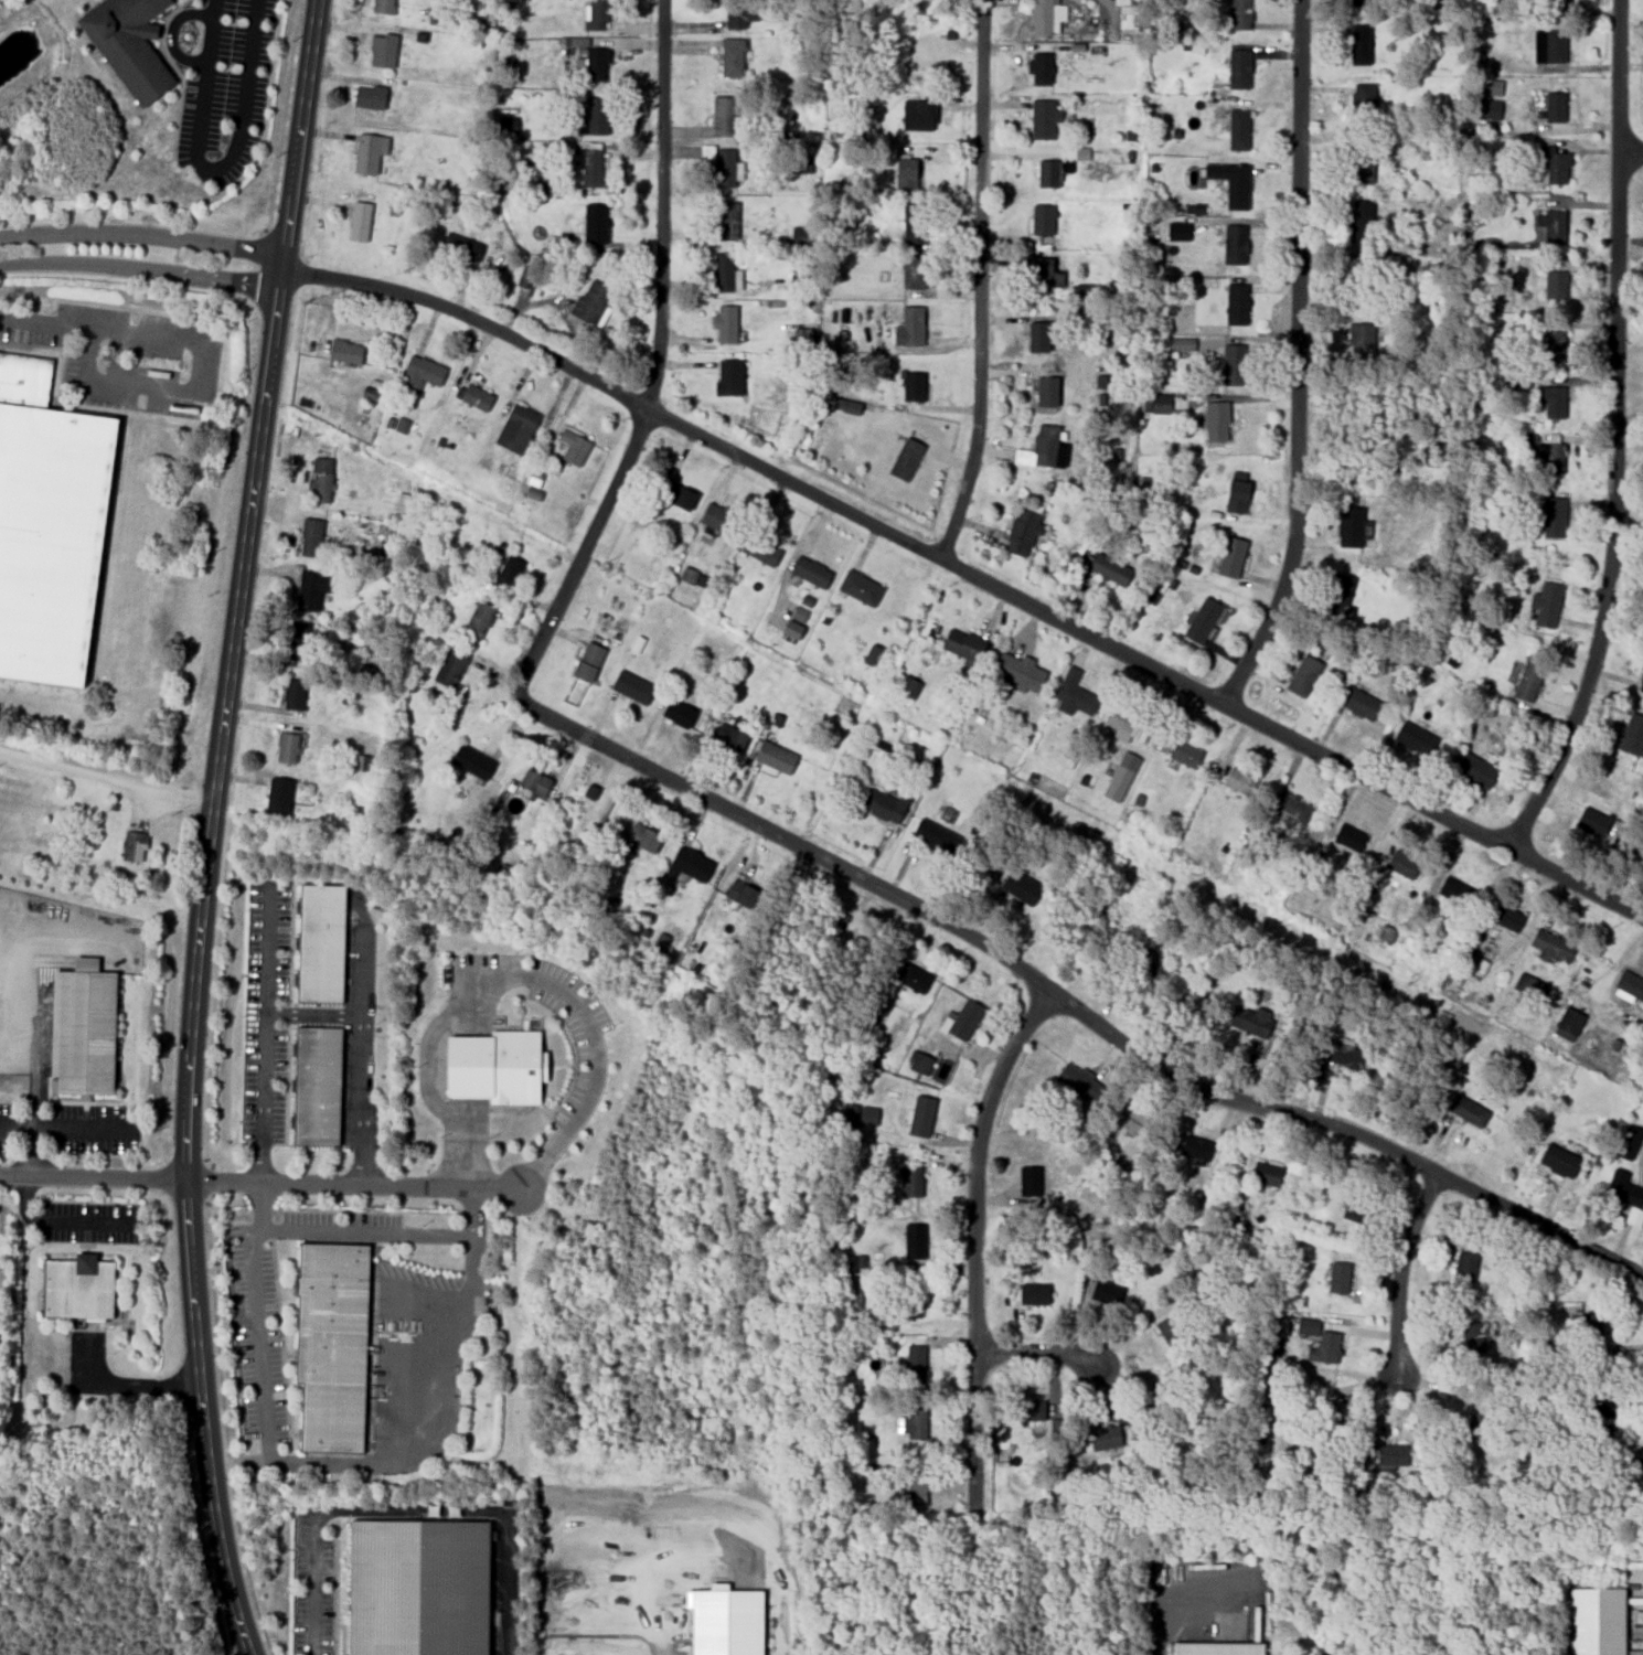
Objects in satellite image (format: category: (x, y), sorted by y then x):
building: (515, 1)
building: (1359, 1)
building: (1558, 4)
building: (384, 6)
building: (596, 14)
building: (738, 14)
building: (1044, 15)
building: (1238, 15)
building: (1128, 17)
road: (171, 35)
building: (579, 42)
building: (130, 44)
building: (1358, 45)
building: (1548, 46)
building: (384, 51)
building: (734, 55)
building: (595, 64)
building: (1039, 70)
building: (1238, 70)
road: (1618, 77)
building: (1494, 87)
building: (371, 96)
building: (1361, 102)
building: (1554, 108)
building: (1486, 110)
building: (596, 116)
building: (723, 116)
building: (918, 116)
road: (282, 119)
building: (1043, 119)
building: (1237, 130)
building: (370, 152)
road: (1631, 154)
building: (1359, 163)
building: (804, 164)
building: (1553, 164)
building: (587, 168)
building: (725, 169)
road: (211, 171)
building: (1047, 173)
building: (905, 175)
building: (1230, 183)
building: (360, 221)
building: (1042, 221)
building: (727, 222)
building: (1362, 223)
building: (595, 224)
building: (914, 224)
building: (1550, 225)
building: (1180, 231)
road: (140, 238)
road: (280, 247)
building: (1234, 247)
building: (463, 248)
road: (138, 268)
building: (724, 273)
building: (913, 273)
building: (1041, 273)
building: (525, 277)
building: (1361, 280)
road: (980, 281)
building: (1554, 285)
building: (1081, 292)
building: (590, 302)
building: (1236, 305)
road: (47, 321)
building: (724, 324)
building: (911, 327)
building: (1037, 338)
building: (1362, 340)
building: (1181, 344)
building: (1554, 346)
building: (346, 351)
road: (1298, 359)
road: (655, 361)
building: (1231, 365)
building: (422, 373)
power tower: (236, 376)
building: (728, 377)
building: (911, 387)
road: (195, 392)
building: (1046, 393)
building: (474, 396)
building: (1550, 402)
building: (1159, 404)
building: (849, 405)
building: (1217, 421)
building: (402, 425)
building: (518, 428)
building: (575, 447)
building: (1038, 449)
building: (1553, 459)
building: (905, 460)
building: (537, 474)
building: (320, 481)
building: (534, 493)
building: (680, 495)
building: (1236, 498)
road: (1612, 512)
building: (1554, 517)
building: (719, 521)
building: (50, 523)
building: (1347, 528)
building: (1021, 534)
building: (309, 538)
building: (764, 551)
building: (1230, 558)
power tower: (602, 567)
building: (1109, 570)
building: (509, 572)
road: (968, 573)
building: (809, 574)
building: (693, 576)
building: (311, 589)
building: (858, 589)
building: (1337, 594)
building: (1546, 600)
building: (800, 613)
building: (477, 621)
building: (1201, 621)
building: (793, 629)
building: (296, 641)
building: (962, 644)
building: (873, 654)
building: (586, 662)
building: (449, 668)
building: (1016, 671)
building: (1302, 675)
building: (1527, 677)
building: (1641, 683)
building: (631, 686)
building: (909, 686)
building: (292, 694)
building: (1074, 695)
building: (1357, 703)
building: (676, 712)
building: (1125, 725)
building: (1631, 734)
building: (729, 738)
building: (1413, 738)
road: (1235, 743)
building: (286, 747)
building: (1184, 754)
building: (774, 756)
building: (474, 761)
building: (363, 762)
road: (1239, 764)
power tower: (1006, 770)
building: (1474, 770)
road: (216, 776)
building: (1122, 777)
road: (107, 779)
building: (1240, 780)
building: (533, 782)
building: (591, 791)
building: (277, 797)
building: (883, 804)
road: (1472, 809)
building: (1293, 811)
building: (1591, 822)
building: (935, 835)
building: (644, 837)
building: (1348, 837)
building: (132, 846)
building: (1634, 848)
building: (687, 864)
building: (1401, 864)
building: (1020, 887)
building: (1455, 891)
building: (740, 894)
building: (1506, 917)
building: (1387, 933)
building: (323, 943)
building: (1551, 946)
building: (1149, 962)
building: (913, 978)
power tower: (1408, 978)
building: (1628, 986)
building: (1529, 987)
road: (215, 991)
road: (1073, 1005)
road: (313, 1014)
building: (963, 1019)
building: (1250, 1021)
building: (1568, 1024)
road: (265, 1031)
building: (81, 1032)
road: (360, 1036)
road: (596, 1048)
building: (1343, 1056)
building: (918, 1064)
building: (499, 1067)
road: (426, 1076)
building: (1078, 1081)
building: (320, 1086)
building: (1468, 1111)
building: (854, 1115)
building: (867, 1117)
building: (920, 1117)
building: (1127, 1118)
road: (34, 1125)
road: (68, 1128)
building: (1630, 1142)
building: (1194, 1149)
building: (1558, 1161)
building: (1265, 1174)
road: (93, 1178)
road: (212, 1178)
building: (914, 1182)
building: (1031, 1182)
road: (354, 1185)
building: (1622, 1189)
road: (25, 1204)
building: (1354, 1205)
road: (90, 1222)
road: (367, 1232)
road: (974, 1238)
building: (913, 1241)
building: (858, 1263)
building: (1463, 1268)
road: (1400, 1273)
building: (1337, 1278)
building: (76, 1288)
building: (1102, 1291)
building: (1033, 1294)
building: (853, 1300)
building: (908, 1300)
road: (426, 1301)
road: (257, 1320)
building: (1309, 1326)
building: (1588, 1328)
building: (1170, 1333)
building: (335, 1346)
building: (1329, 1346)
road: (1034, 1350)
road: (198, 1358)
building: (914, 1364)
road: (125, 1386)
building: (1598, 1402)
building: (1028, 1410)
building: (1330, 1418)
road: (424, 1419)
building: (916, 1422)
building: (1477, 1423)
road: (225, 1427)
building: (1105, 1438)
building: (1390, 1454)
building: (1641, 1454)
building: (916, 1483)
road: (717, 1489)
road: (412, 1509)
building: (418, 1588)
road: (1185, 1593)
building: (1597, 1622)
building: (1216, 1648)

